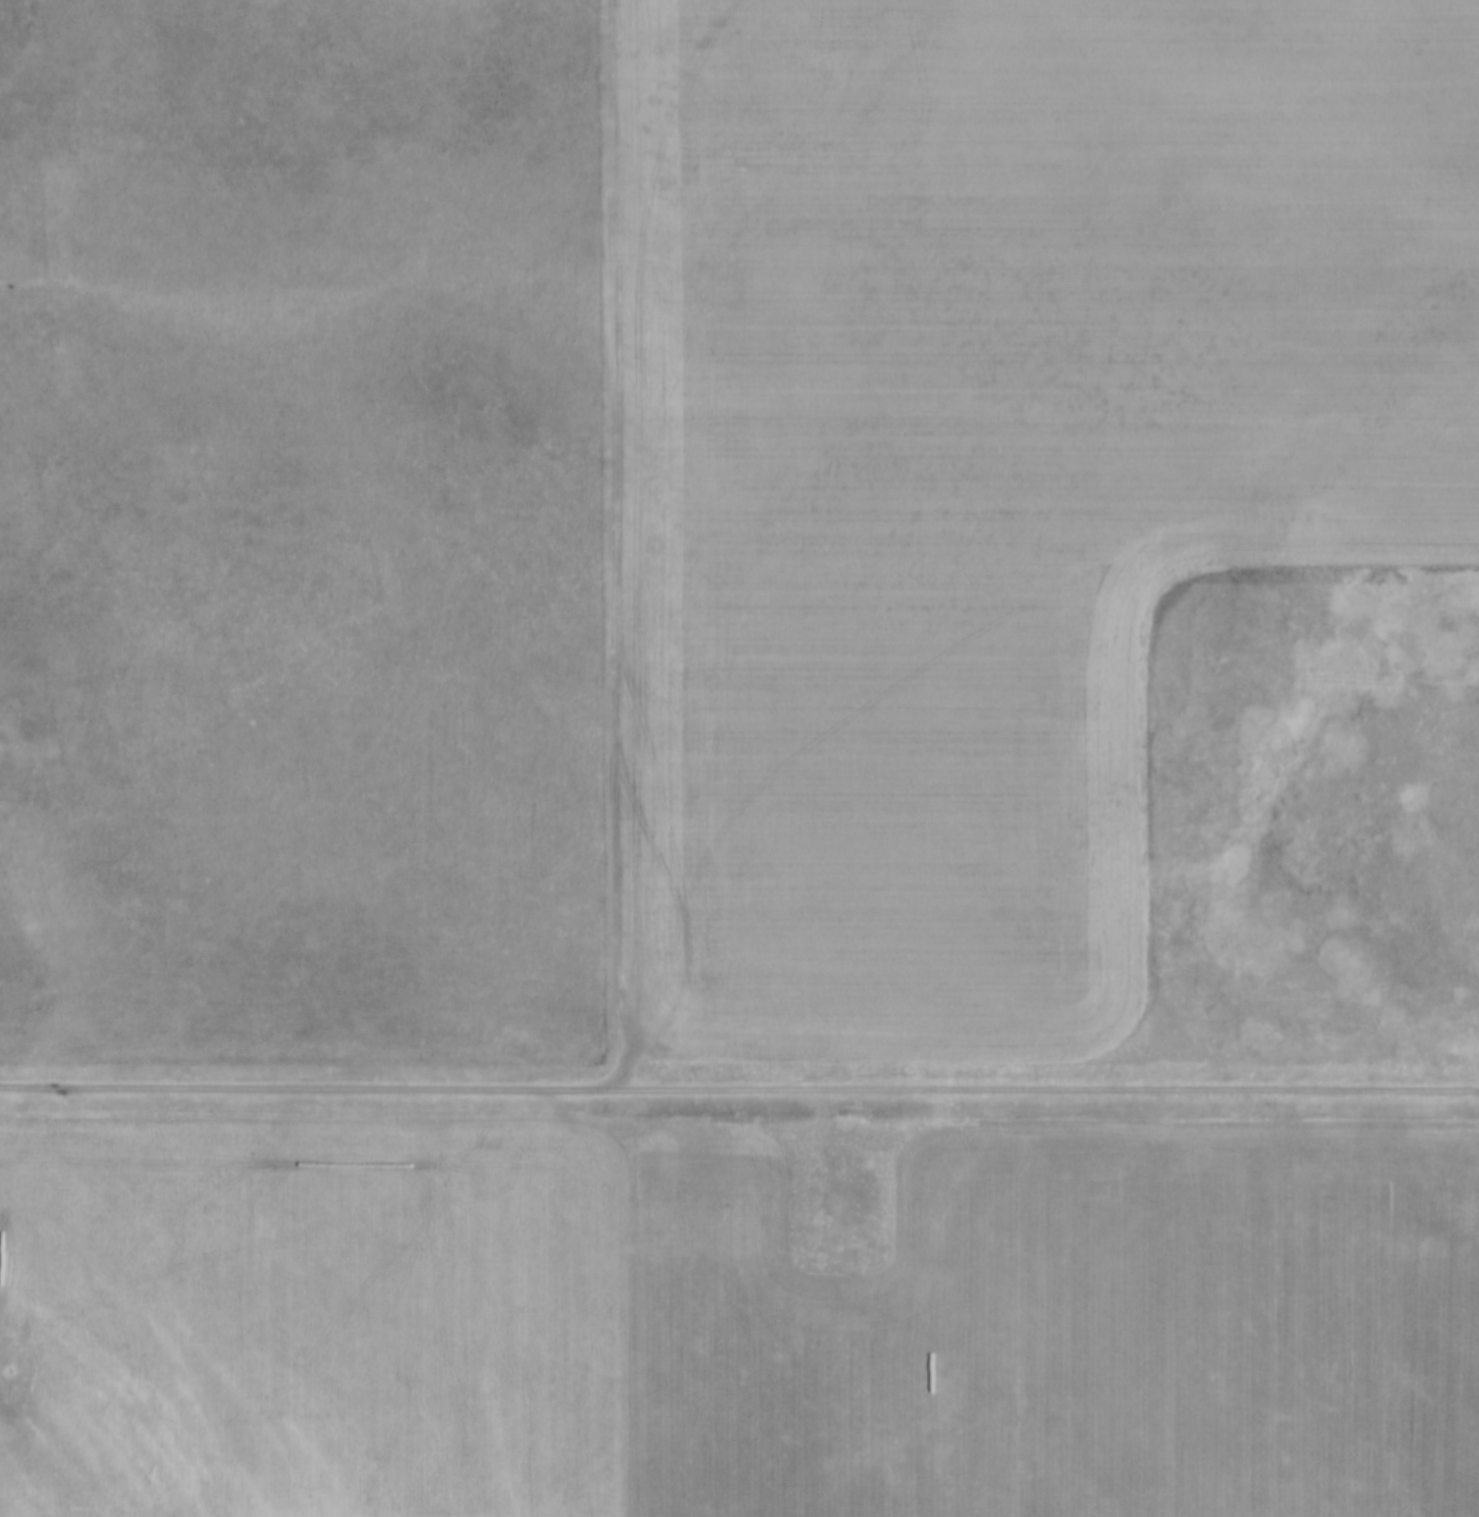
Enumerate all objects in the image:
road: (739, 1093)

